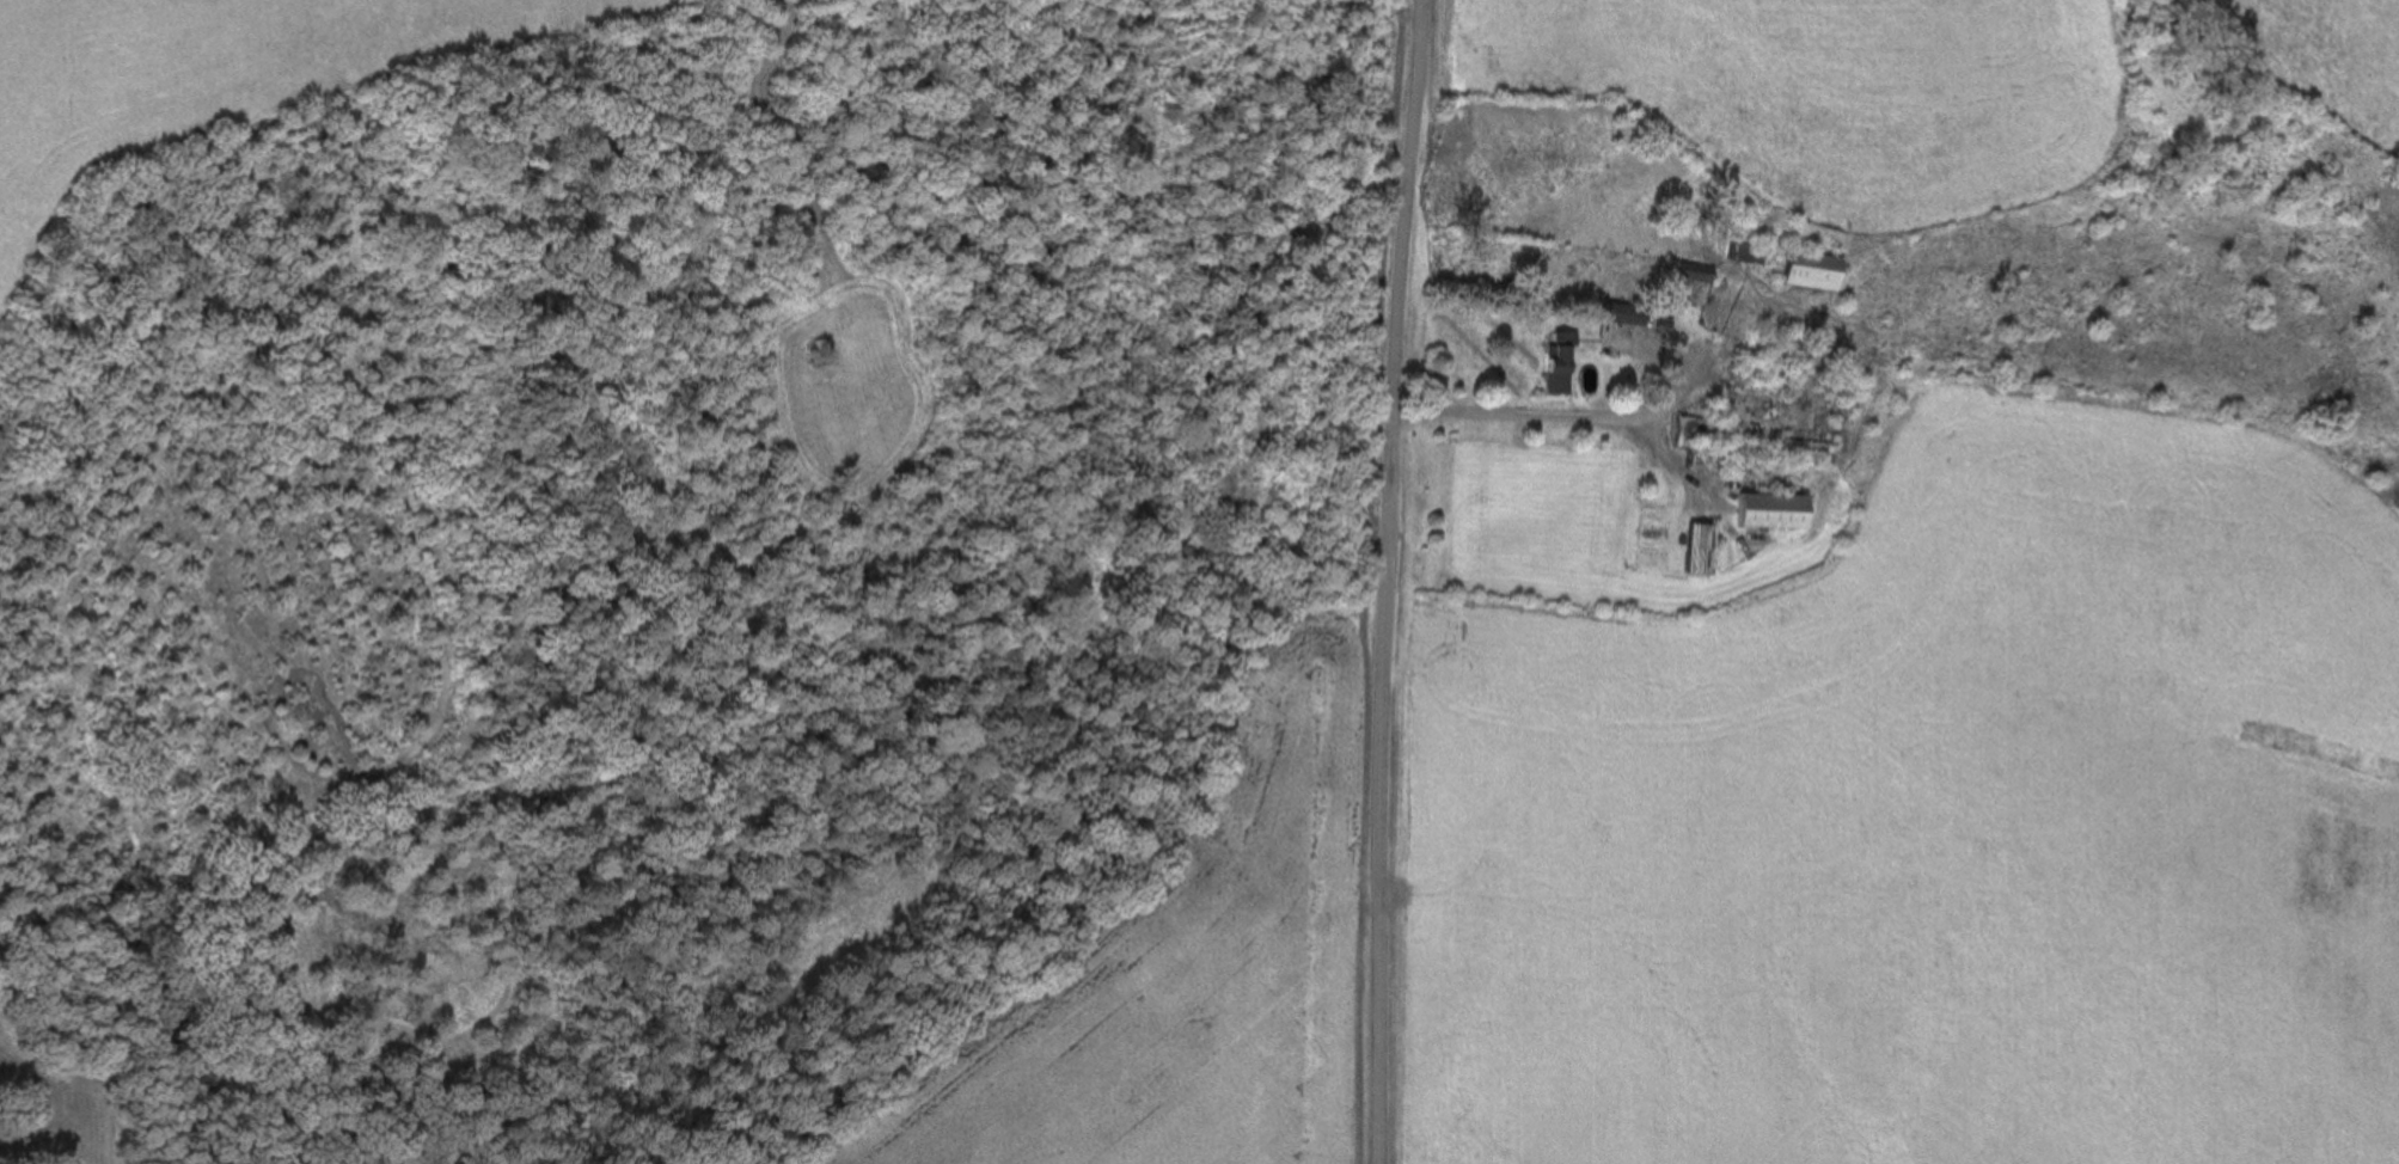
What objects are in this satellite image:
building: (1740, 256)
building: (1805, 274)
building: (1688, 276)
building: (1620, 315)
building: (1553, 367)
road: (1557, 421)
building: (1765, 513)
building: (1694, 552)
road: (1384, 581)

